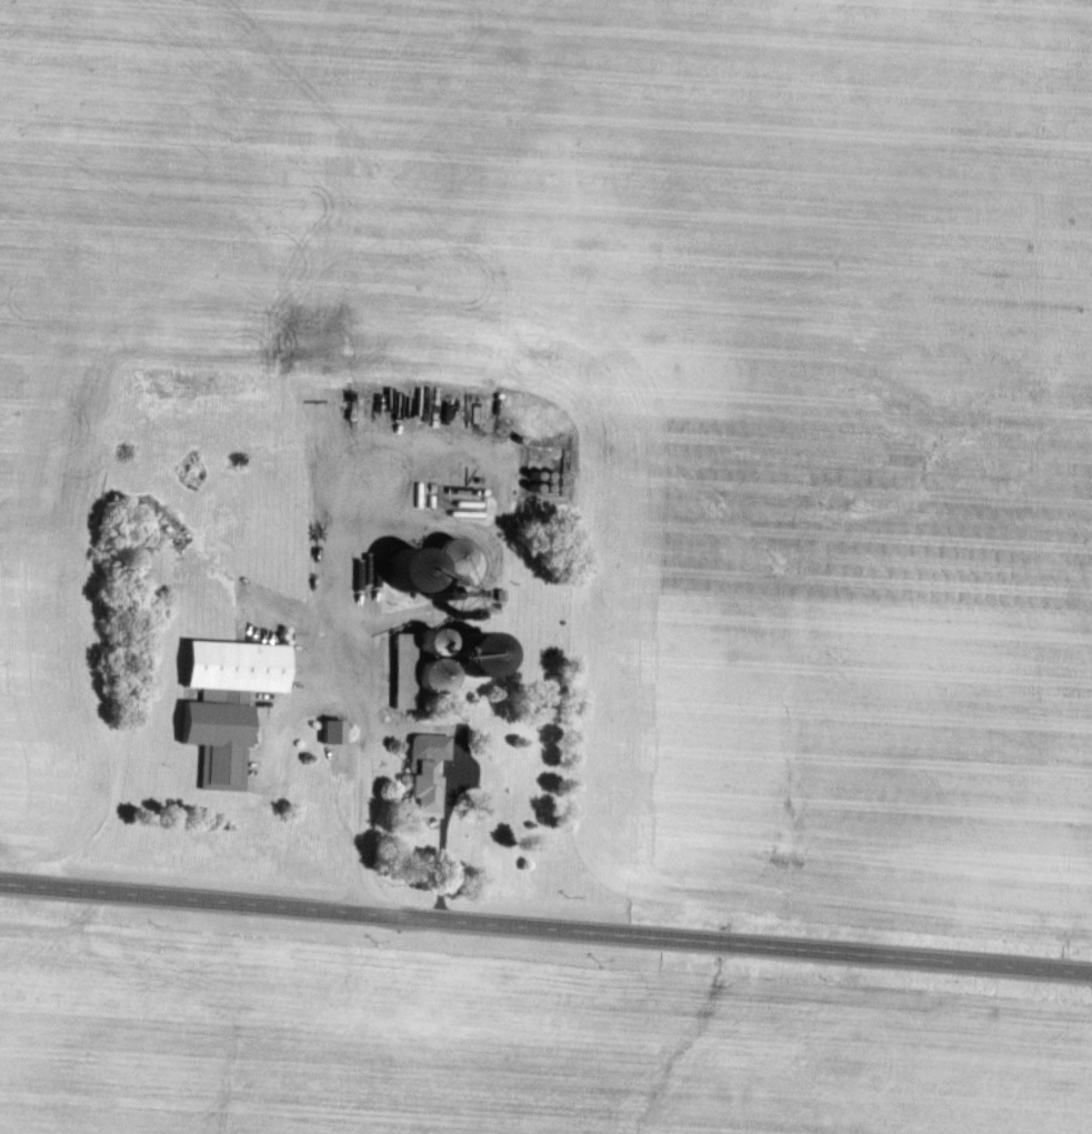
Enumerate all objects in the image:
road: (359, 689)
road: (545, 932)

